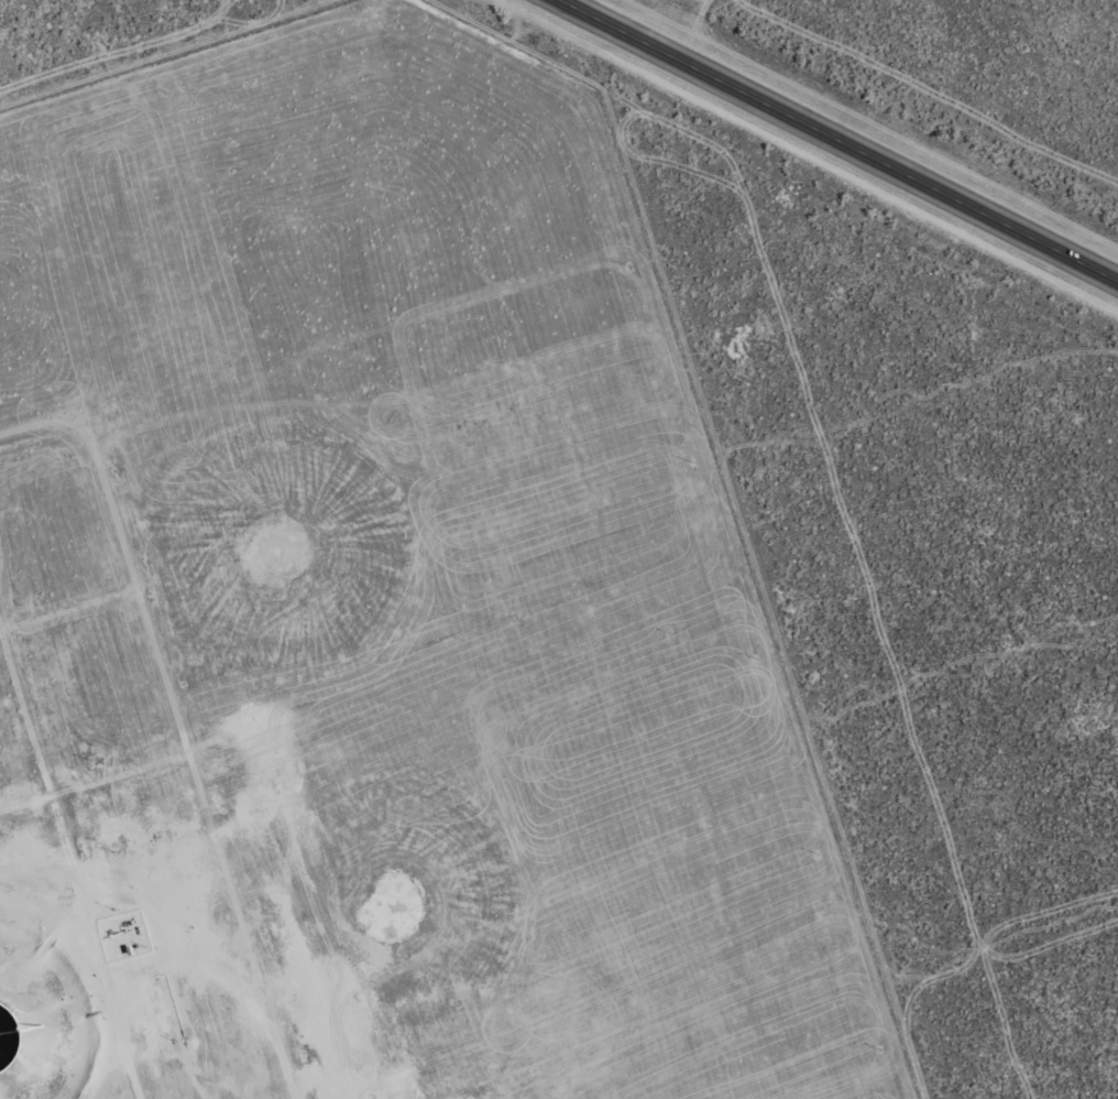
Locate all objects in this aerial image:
road: (830, 149)
road: (86, 642)
road: (180, 731)
road: (79, 851)
road: (160, 895)
road: (198, 1034)

